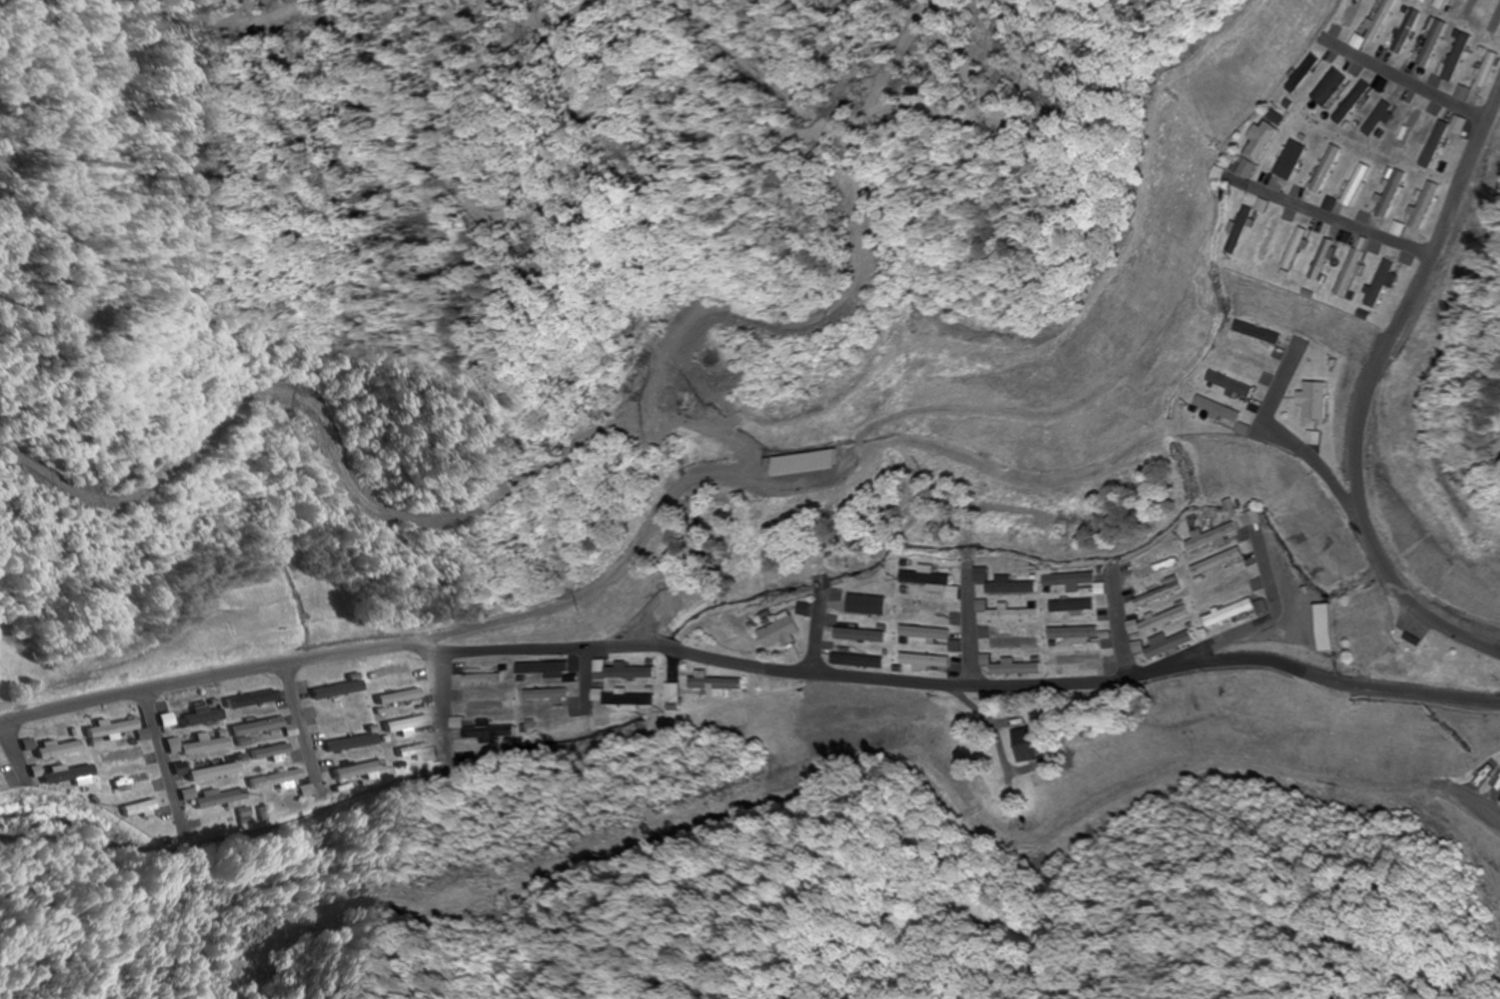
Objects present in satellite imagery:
building: (1449, 1)
building: (1476, 10)
building: (1356, 13)
building: (1380, 27)
building: (1498, 28)
building: (1413, 32)
building: (1441, 44)
building: (1466, 57)
building: (1494, 73)
building: (1328, 91)
building: (1472, 93)
building: (1361, 101)
building: (1388, 117)
building: (1279, 118)
building: (1468, 123)
building: (1444, 145)
building: (1260, 150)
building: (1299, 156)
building: (1334, 170)
building: (1219, 175)
building: (1366, 186)
building: (1401, 195)
building: (1339, 204)
building: (1269, 207)
building: (1433, 207)
building: (1245, 231)
building: (1274, 242)
building: (1304, 250)
building: (1333, 261)
building: (1361, 274)
building: (1391, 284)
building: (1261, 334)
building: (1251, 360)
building: (1235, 385)
road: (1372, 394)
building: (1319, 402)
building: (1224, 410)
building: (1211, 538)
building: (1219, 563)
building: (1156, 569)
building: (933, 581)
building: (1078, 583)
building: (1008, 585)
building: (1231, 586)
building: (1162, 596)
building: (1076, 606)
building: (928, 608)
building: (668, 609)
building: (868, 609)
building: (1232, 614)
building: (1016, 615)
building: (1168, 620)
building: (784, 634)
building: (1078, 634)
building: (928, 635)
building: (861, 636)
building: (1018, 643)
building: (1172, 645)
building: (1081, 661)
building: (858, 662)
building: (926, 662)
building: (547, 668)
road: (748, 670)
building: (1019, 670)
building: (627, 672)
building: (484, 680)
building: (718, 685)
building: (334, 691)
building: (676, 694)
building: (550, 695)
building: (395, 697)
building: (251, 700)
building: (626, 701)
building: (425, 702)
building: (487, 706)
building: (195, 721)
building: (402, 725)
building: (260, 728)
building: (111, 729)
building: (493, 734)
building: (346, 744)
building: (1031, 745)
building: (194, 746)
building: (56, 750)
building: (264, 752)
building: (435, 755)
building: (118, 756)
building: (147, 760)
building: (351, 771)
building: (203, 772)
building: (62, 776)
building: (268, 780)
building: (133, 783)
building: (298, 791)
building: (209, 798)
building: (131, 810)

